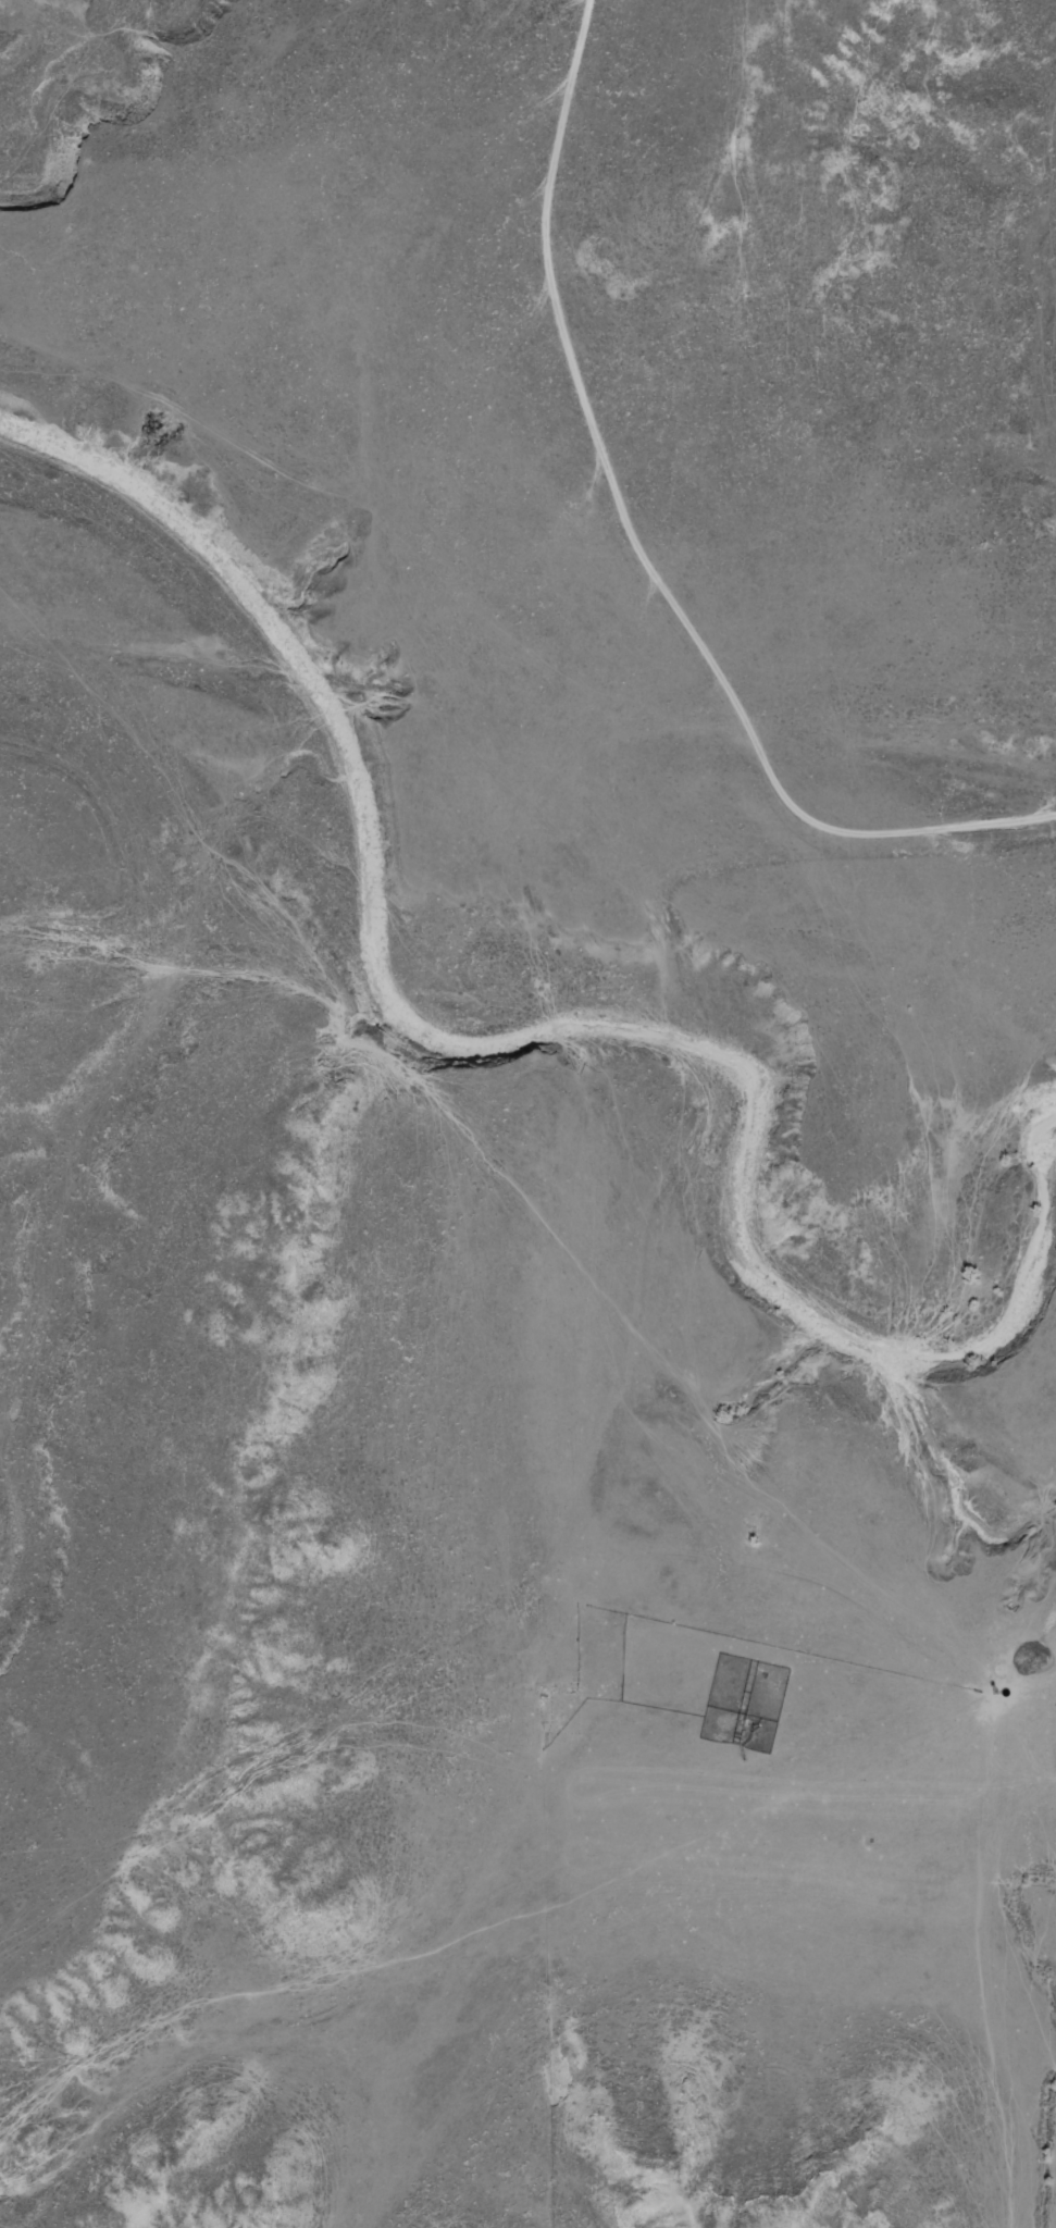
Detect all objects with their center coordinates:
river: (494, 1044)
river: (1053, 1174)

